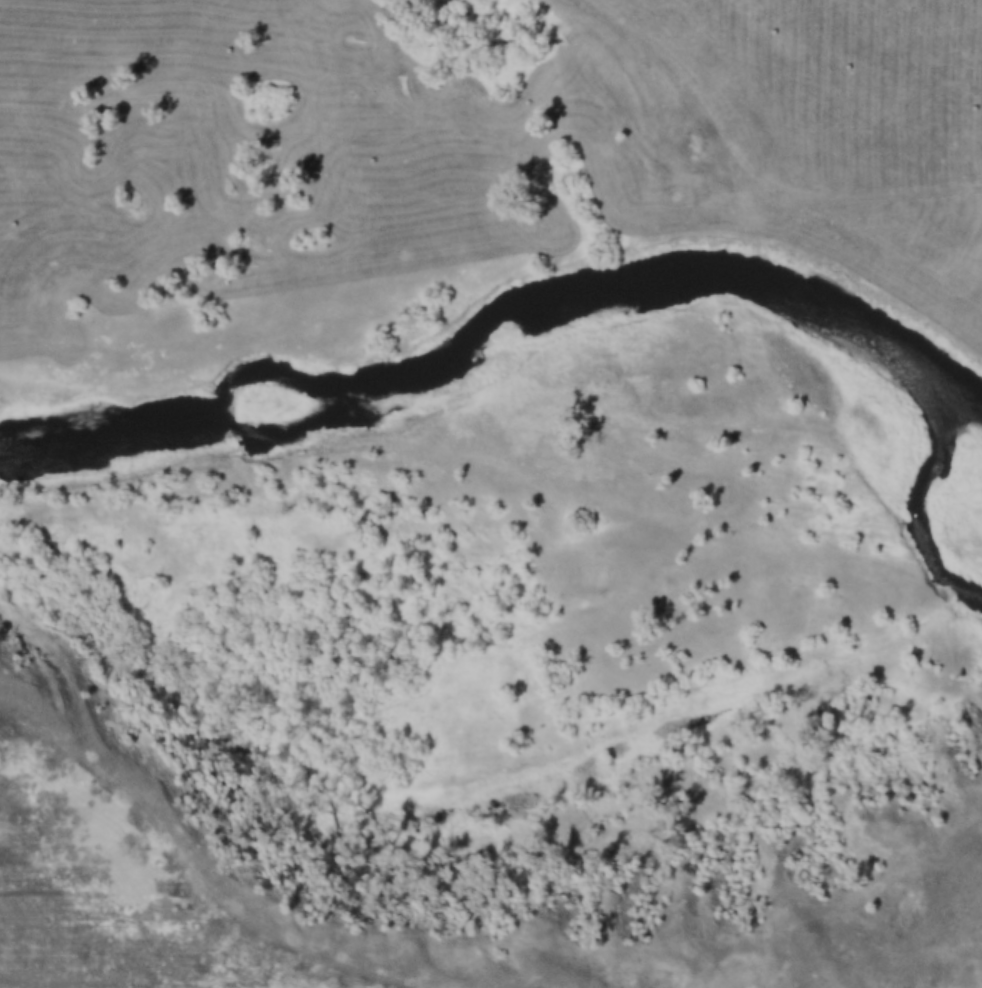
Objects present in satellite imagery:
river: (579, 285)

